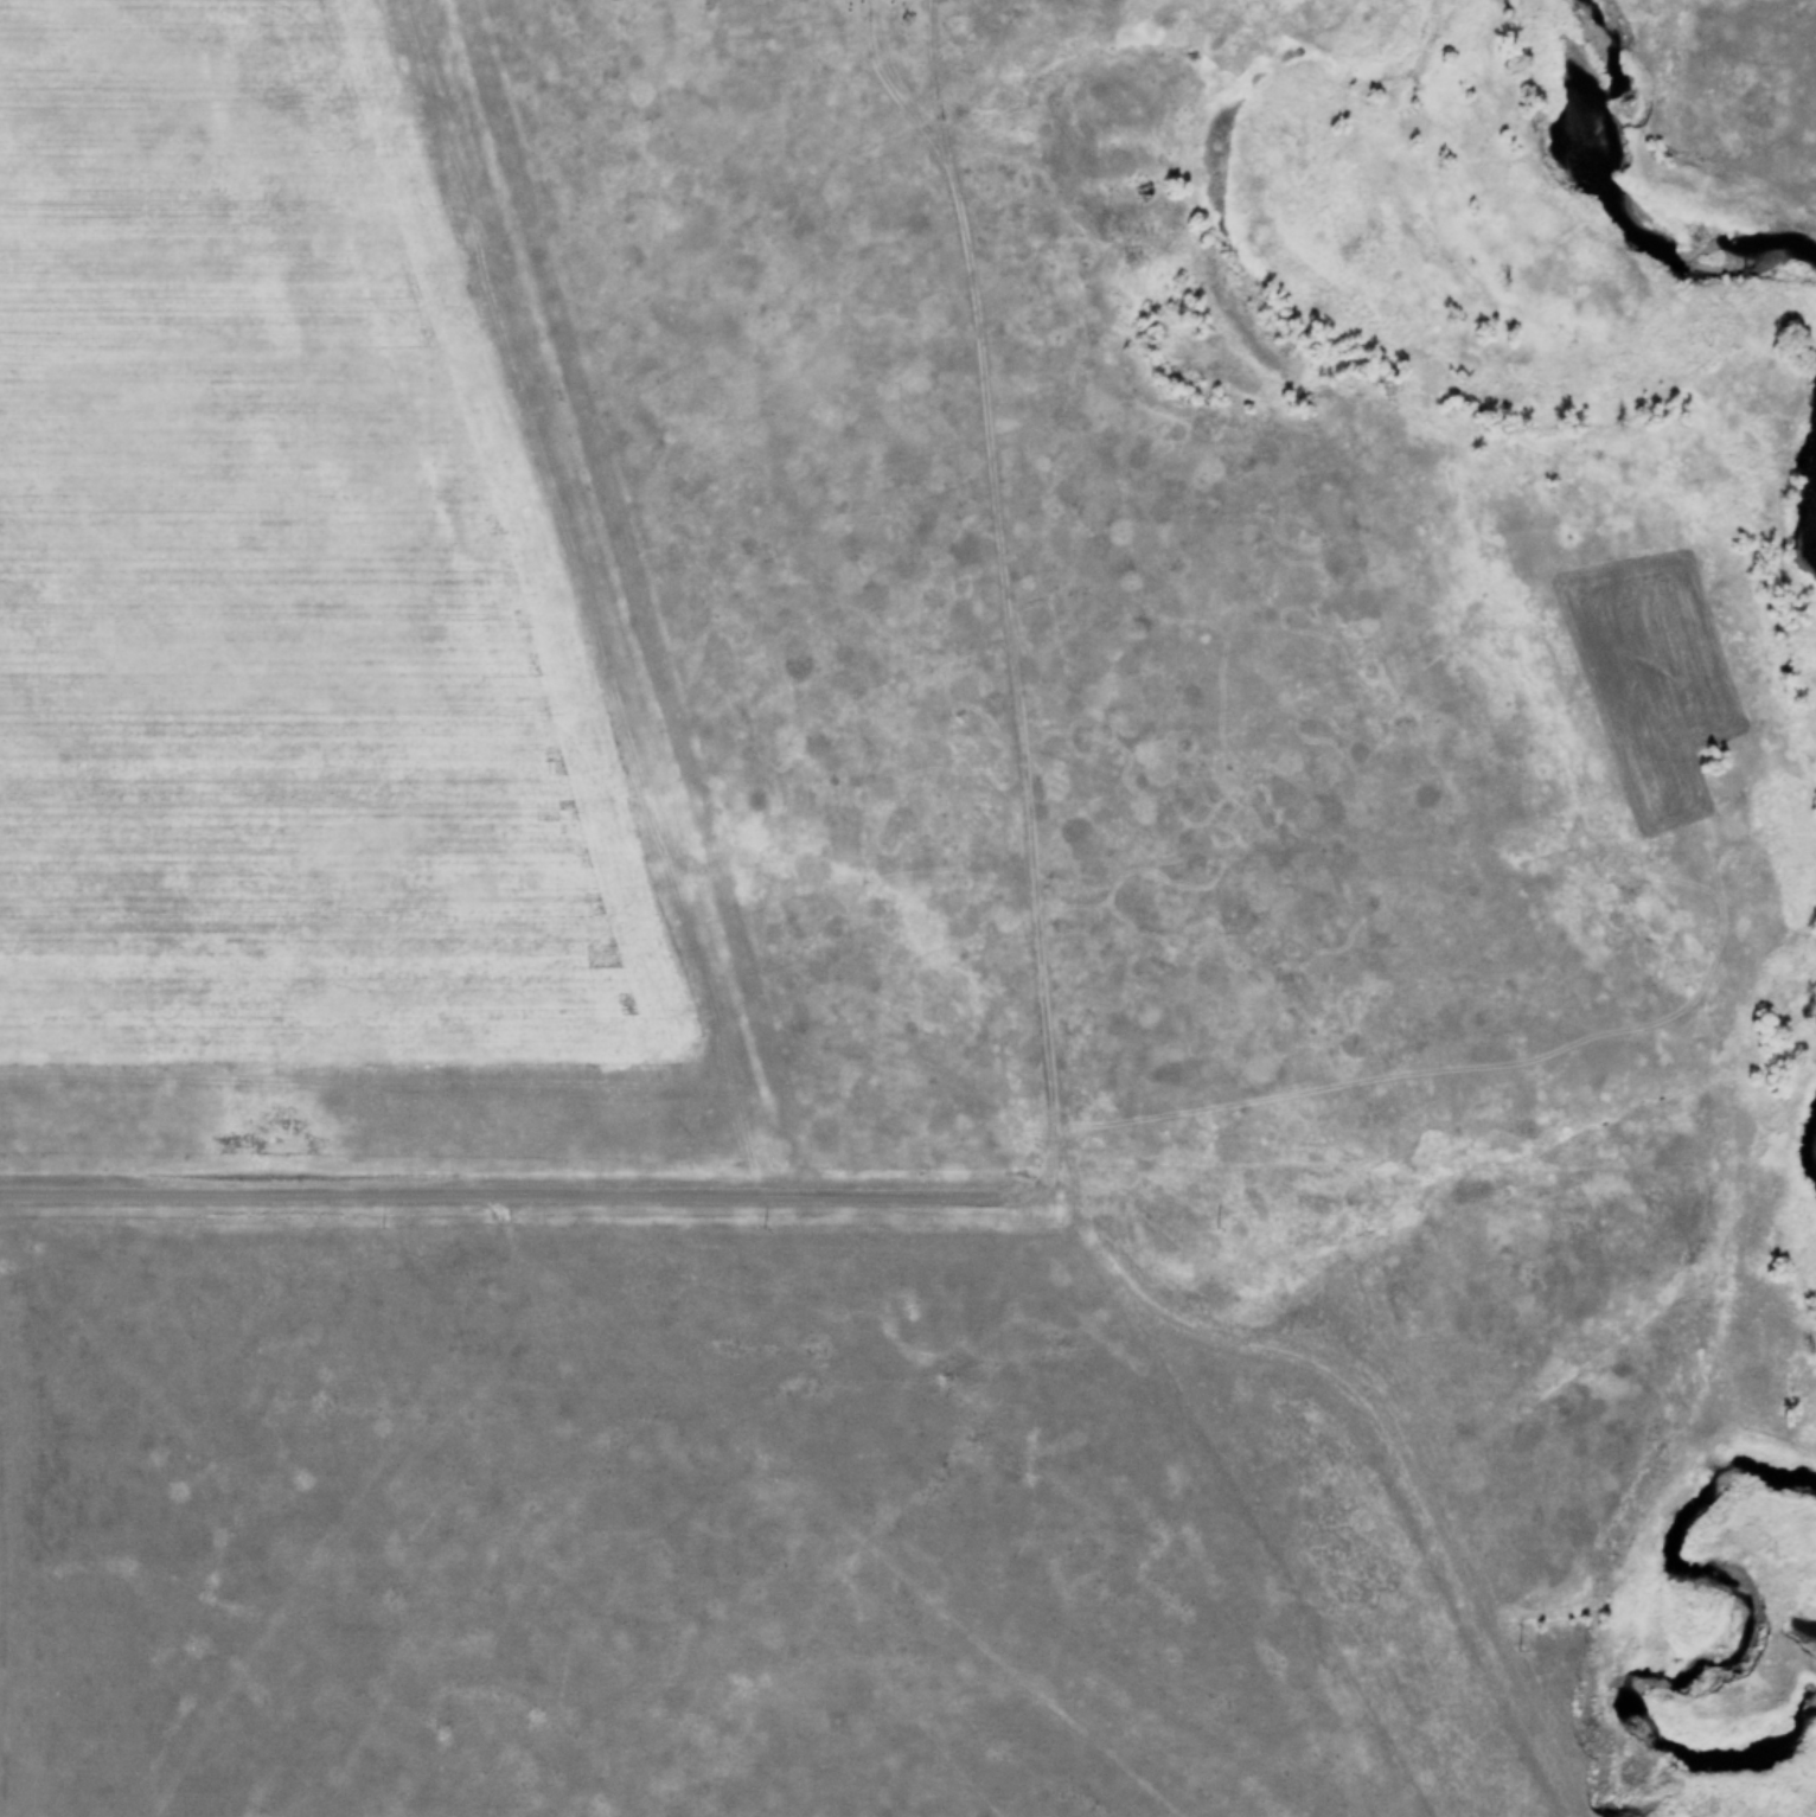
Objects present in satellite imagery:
road: (1002, 1011)
road: (537, 1191)

